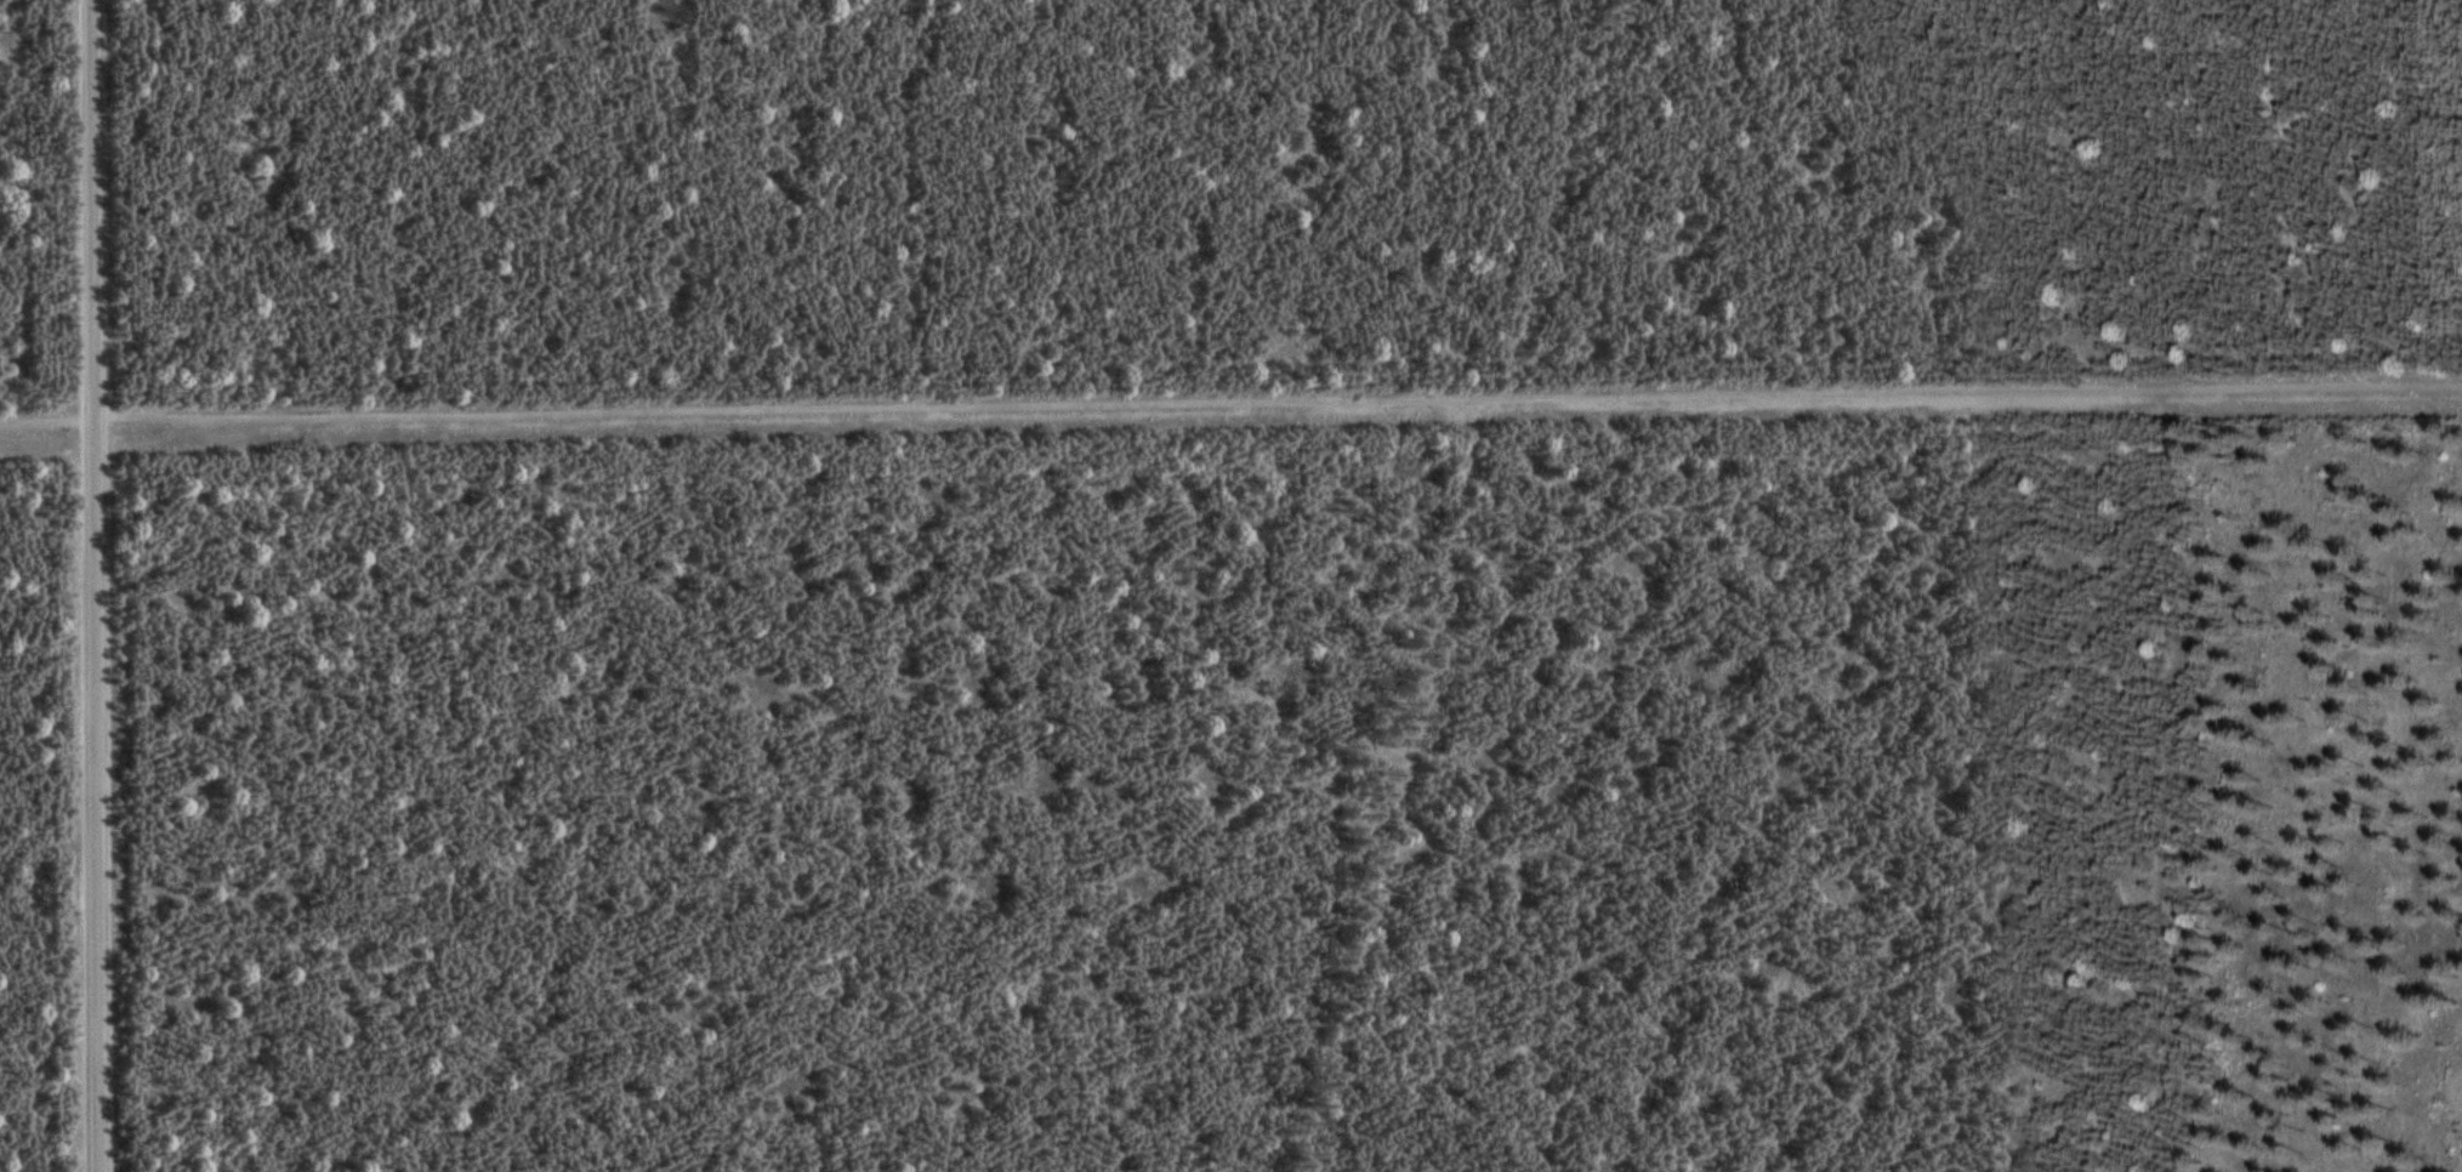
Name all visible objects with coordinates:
road: (1230, 405)
road: (99, 585)

